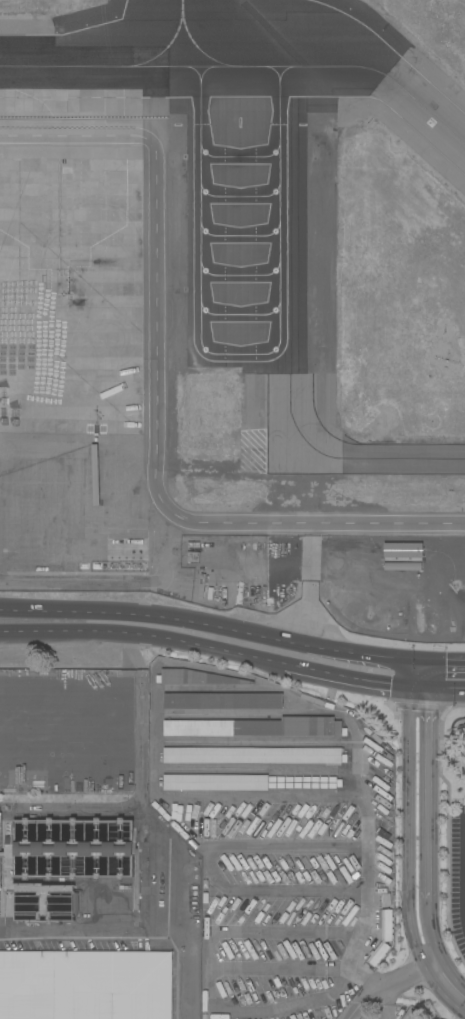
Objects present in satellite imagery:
airport taxiway: (181, 33)
airport taxiway: (190, 66)
airport taxiway: (422, 105)
airport: (236, 306)
road: (160, 400)
airport taxiway: (393, 460)
building: (431, 551)
building: (431, 573)
building: (446, 603)
road: (209, 622)
road: (143, 637)
road: (441, 660)
road: (198, 667)
road: (416, 676)
building: (194, 678)
road: (350, 679)
road: (220, 689)
road: (440, 691)
building: (222, 701)
road: (251, 712)
fountain: (459, 722)
building: (255, 727)
road: (257, 742)
building: (254, 755)
road: (236, 768)
road: (138, 780)
building: (215, 782)
road: (325, 796)
road: (422, 798)
road: (407, 831)
building: (63, 862)
road: (210, 866)
parking lot: (285, 902)
road: (75, 930)
road: (427, 934)
building: (382, 938)
road: (209, 947)
road: (356, 947)
road: (182, 964)
building: (85, 985)
road: (447, 986)
road: (387, 987)
road: (385, 1004)
road: (269, 1010)
parking lot: (387, 1012)

